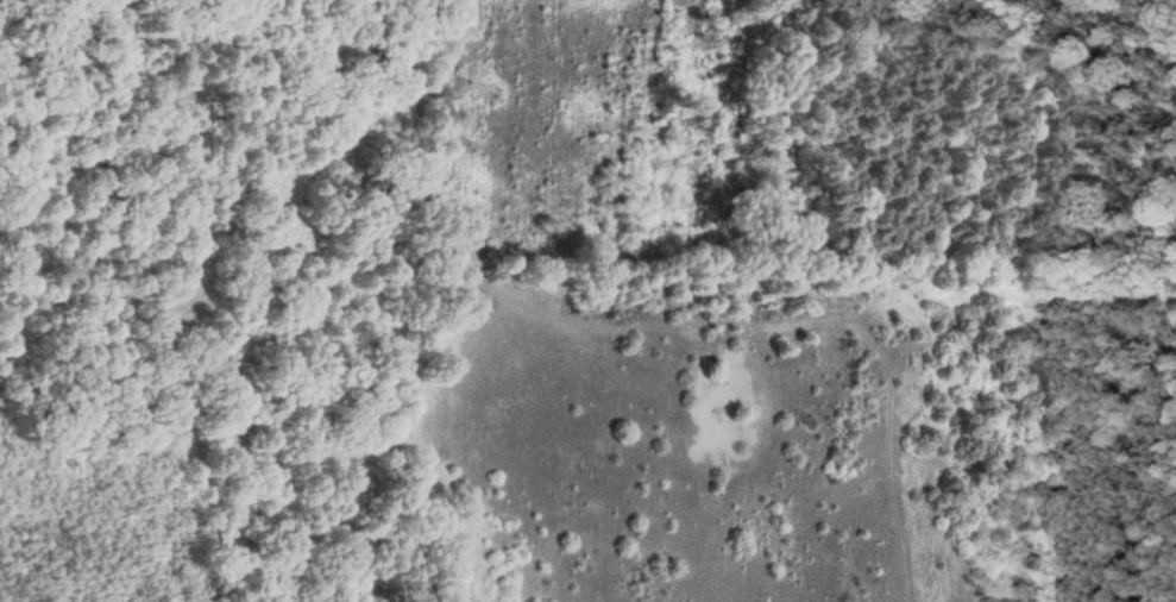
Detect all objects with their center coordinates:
road: (40, 35)

